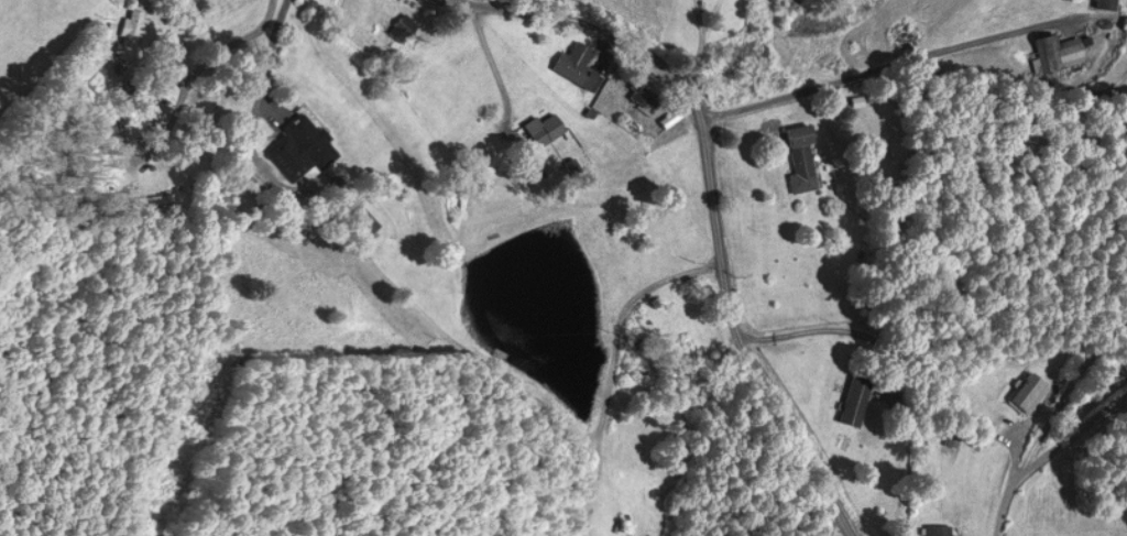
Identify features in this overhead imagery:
building: (1105, 4)
building: (400, 29)
building: (128, 34)
road: (699, 50)
building: (1057, 53)
road: (911, 59)
building: (576, 66)
building: (646, 92)
building: (543, 130)
building: (305, 143)
building: (800, 157)
road: (716, 217)
building: (1026, 392)
building: (853, 402)
road: (1044, 453)
building: (939, 530)

